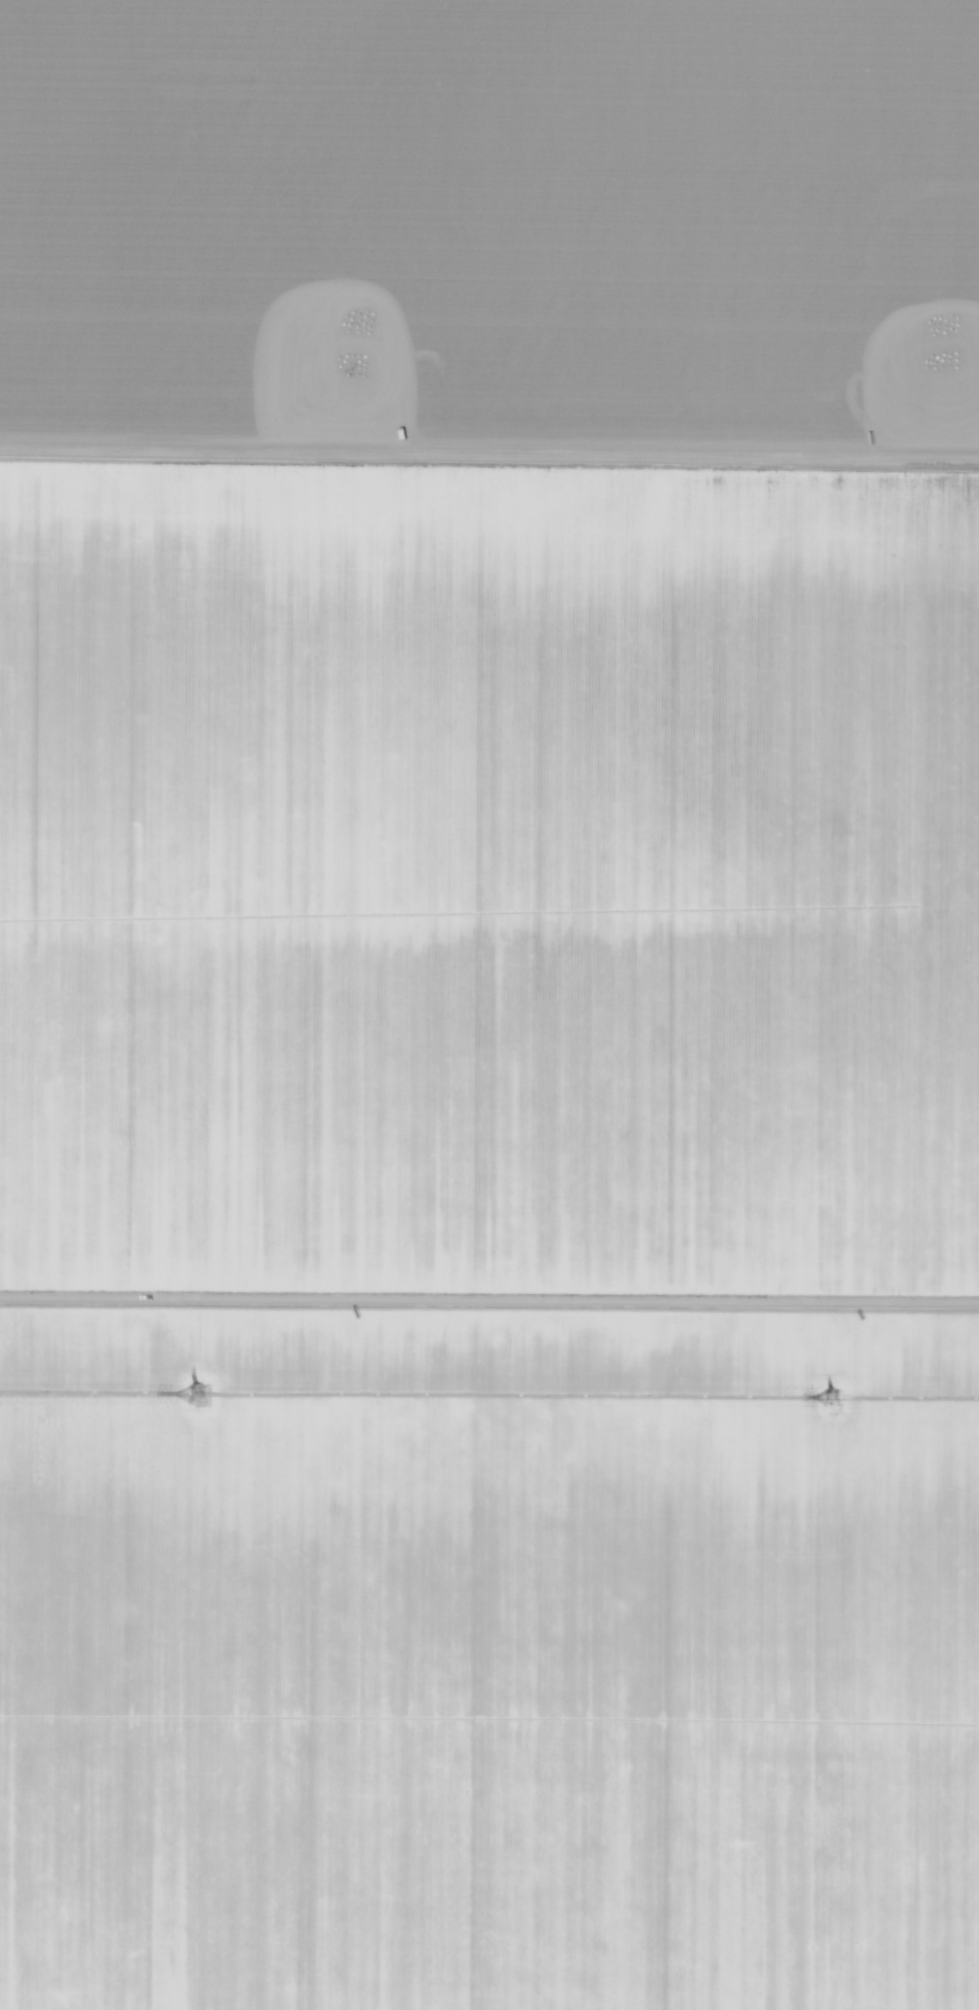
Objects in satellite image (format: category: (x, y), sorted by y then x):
road: (489, 448)
crop: (489, 1237)
power tower: (193, 1395)
power tower: (826, 1398)

